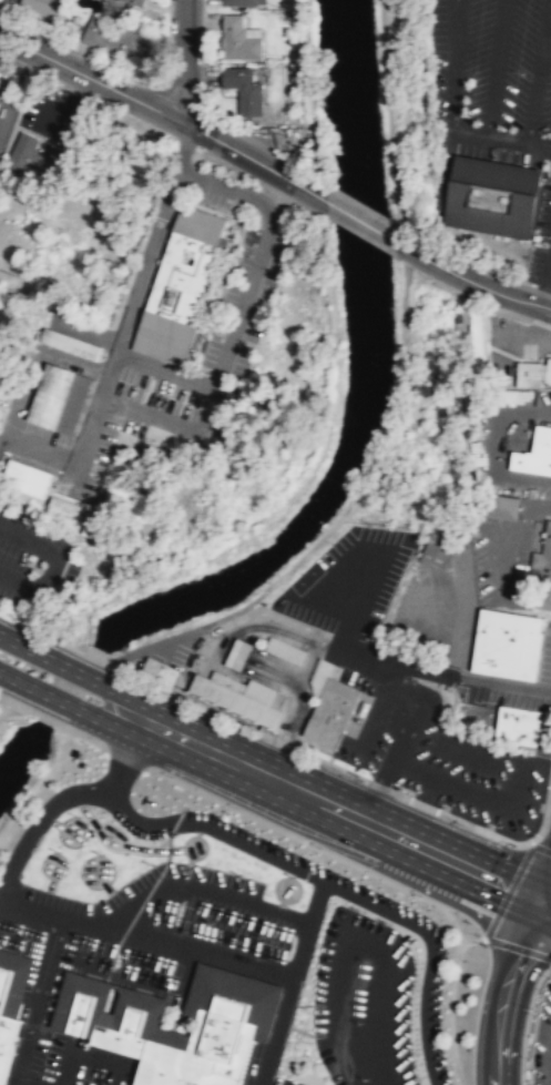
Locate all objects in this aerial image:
building: (136, 2)
building: (237, 2)
building: (43, 7)
street lamp: (43, 38)
building: (118, 38)
building: (238, 38)
road: (185, 61)
road: (452, 64)
road: (494, 67)
road: (116, 71)
road: (537, 71)
building: (0, 78)
road: (92, 79)
parking lot: (492, 80)
street lamp: (133, 82)
building: (242, 88)
road: (3, 105)
road: (503, 138)
building: (32, 158)
road: (256, 160)
building: (489, 195)
road: (359, 220)
parking lot: (540, 239)
road: (261, 251)
road: (469, 280)
building: (175, 284)
road: (130, 304)
building: (468, 335)
building: (69, 344)
building: (532, 373)
building: (58, 398)
road: (206, 409)
building: (534, 453)
building: (156, 455)
road: (369, 467)
building: (25, 479)
building: (127, 500)
building: (498, 506)
building: (62, 508)
building: (99, 529)
building: (439, 549)
parking lot: (503, 561)
building: (542, 570)
parking lot: (348, 581)
building: (506, 643)
road: (151, 645)
building: (285, 650)
building: (236, 653)
street lamp: (6, 657)
building: (159, 671)
road: (438, 671)
road: (80, 672)
road: (0, 697)
building: (241, 697)
road: (0, 698)
street lamp: (98, 700)
road: (18, 704)
building: (330, 704)
road: (73, 707)
street lamp: (202, 708)
road: (45, 718)
building: (516, 724)
road: (79, 734)
street lamp: (266, 738)
street lamp: (170, 775)
street lamp: (349, 775)
road: (381, 785)
road: (402, 794)
road: (67, 798)
road: (424, 803)
street lamp: (235, 807)
road: (346, 811)
street lamp: (460, 823)
road: (215, 828)
road: (482, 829)
road: (541, 845)
street lamp: (319, 846)
road: (545, 884)
road: (201, 888)
road: (507, 890)
street lamp: (420, 894)
traffic signals: (540, 900)
road: (545, 901)
road: (30, 907)
road: (175, 947)
road: (428, 952)
road: (289, 982)
road: (503, 988)
road: (37, 1000)
building: (10, 1001)
road: (450, 1002)
street lamp: (532, 1008)
road: (526, 1021)
building: (104, 1024)
street lamp: (471, 1046)
road: (88, 1053)
road: (11, 1084)
road: (14, 1084)

